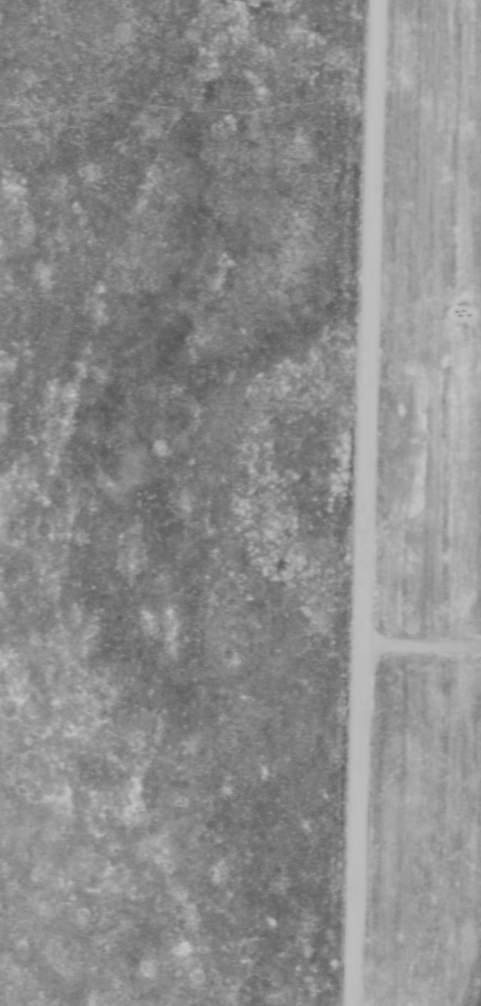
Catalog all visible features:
solar farm: (458, 497)
road: (368, 503)

